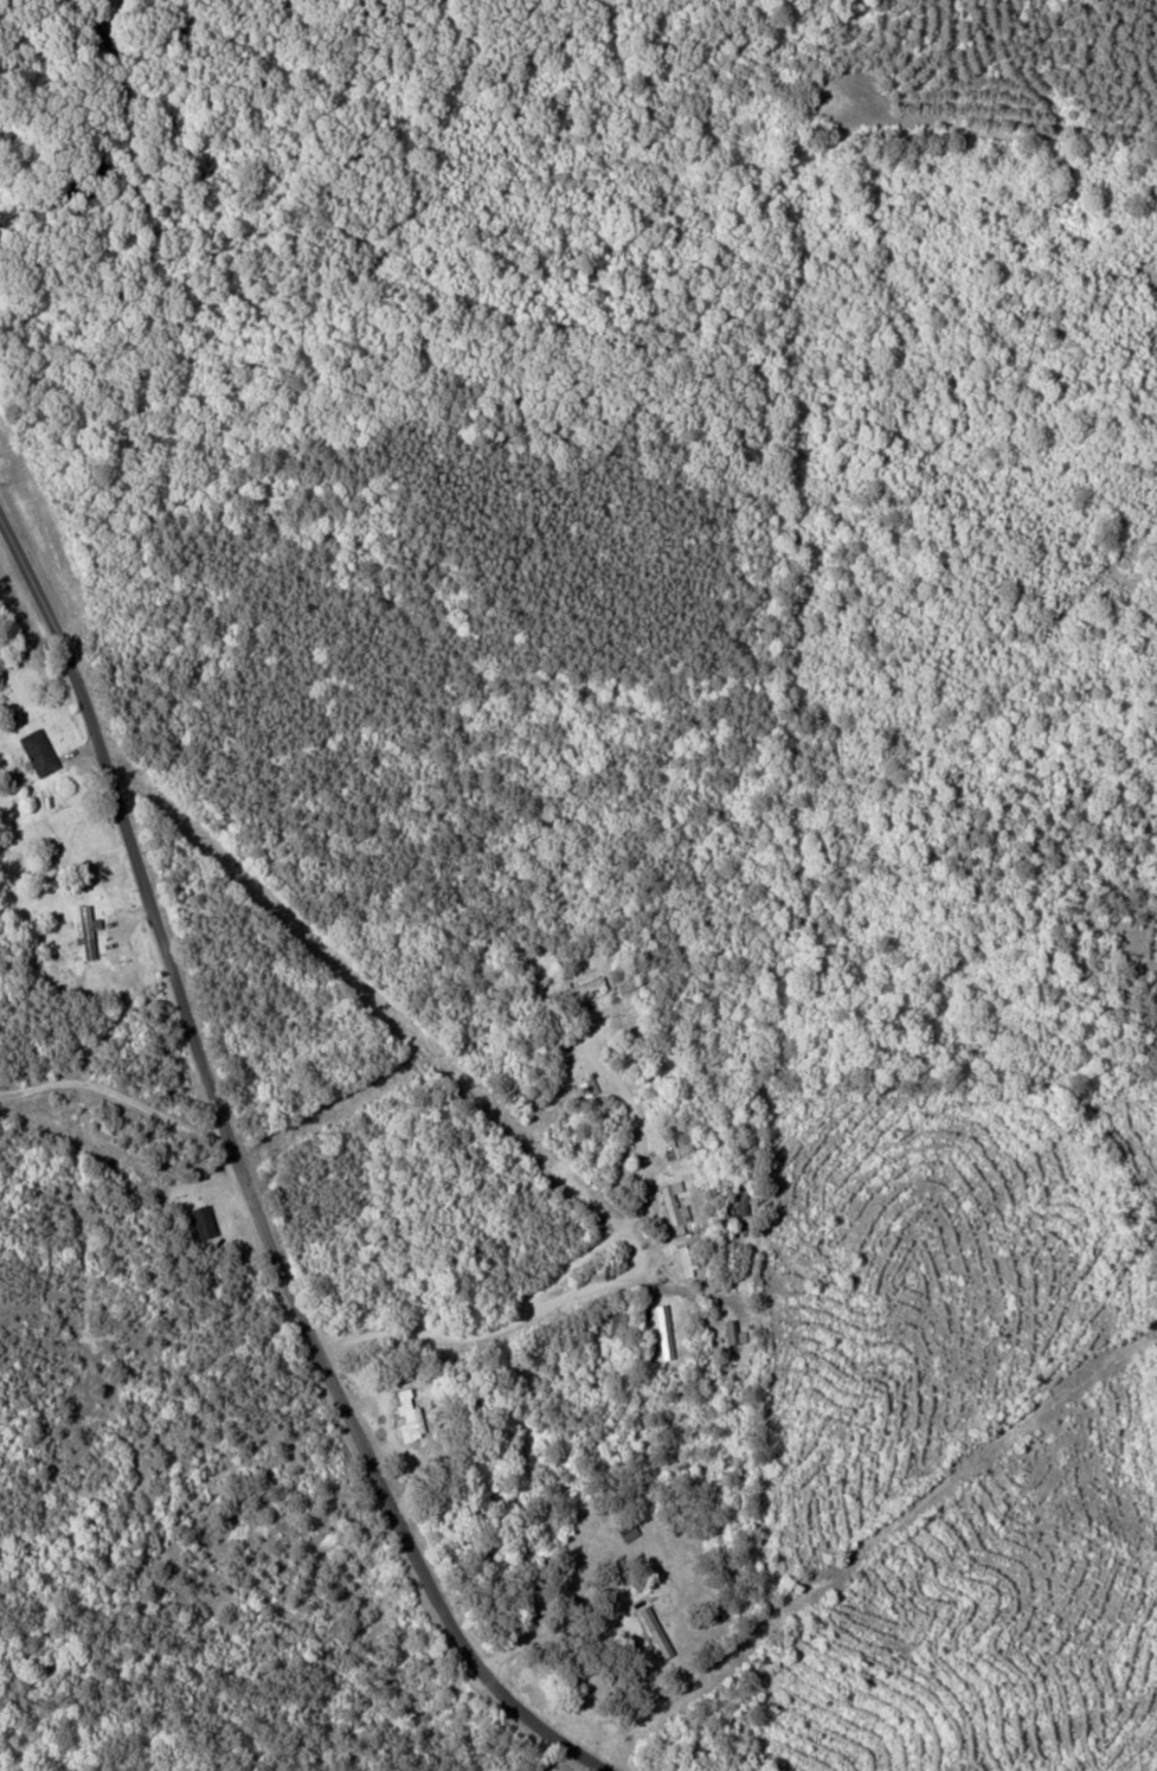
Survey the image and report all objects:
building: (36, 750)
building: (85, 930)
building: (579, 986)
road: (242, 1180)
building: (671, 1207)
building: (199, 1220)
building: (683, 1259)
building: (663, 1330)
building: (732, 1332)
building: (406, 1418)
building: (648, 1628)

